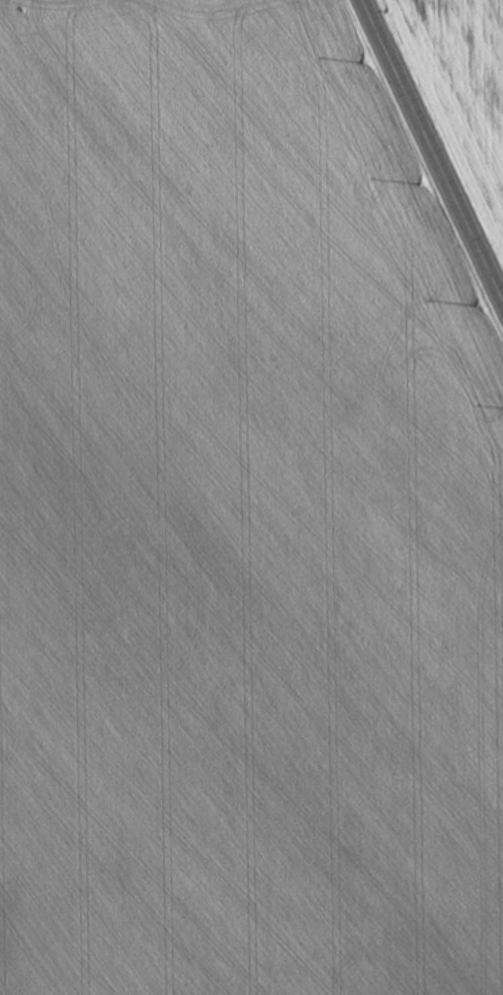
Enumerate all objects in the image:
road: (429, 154)

